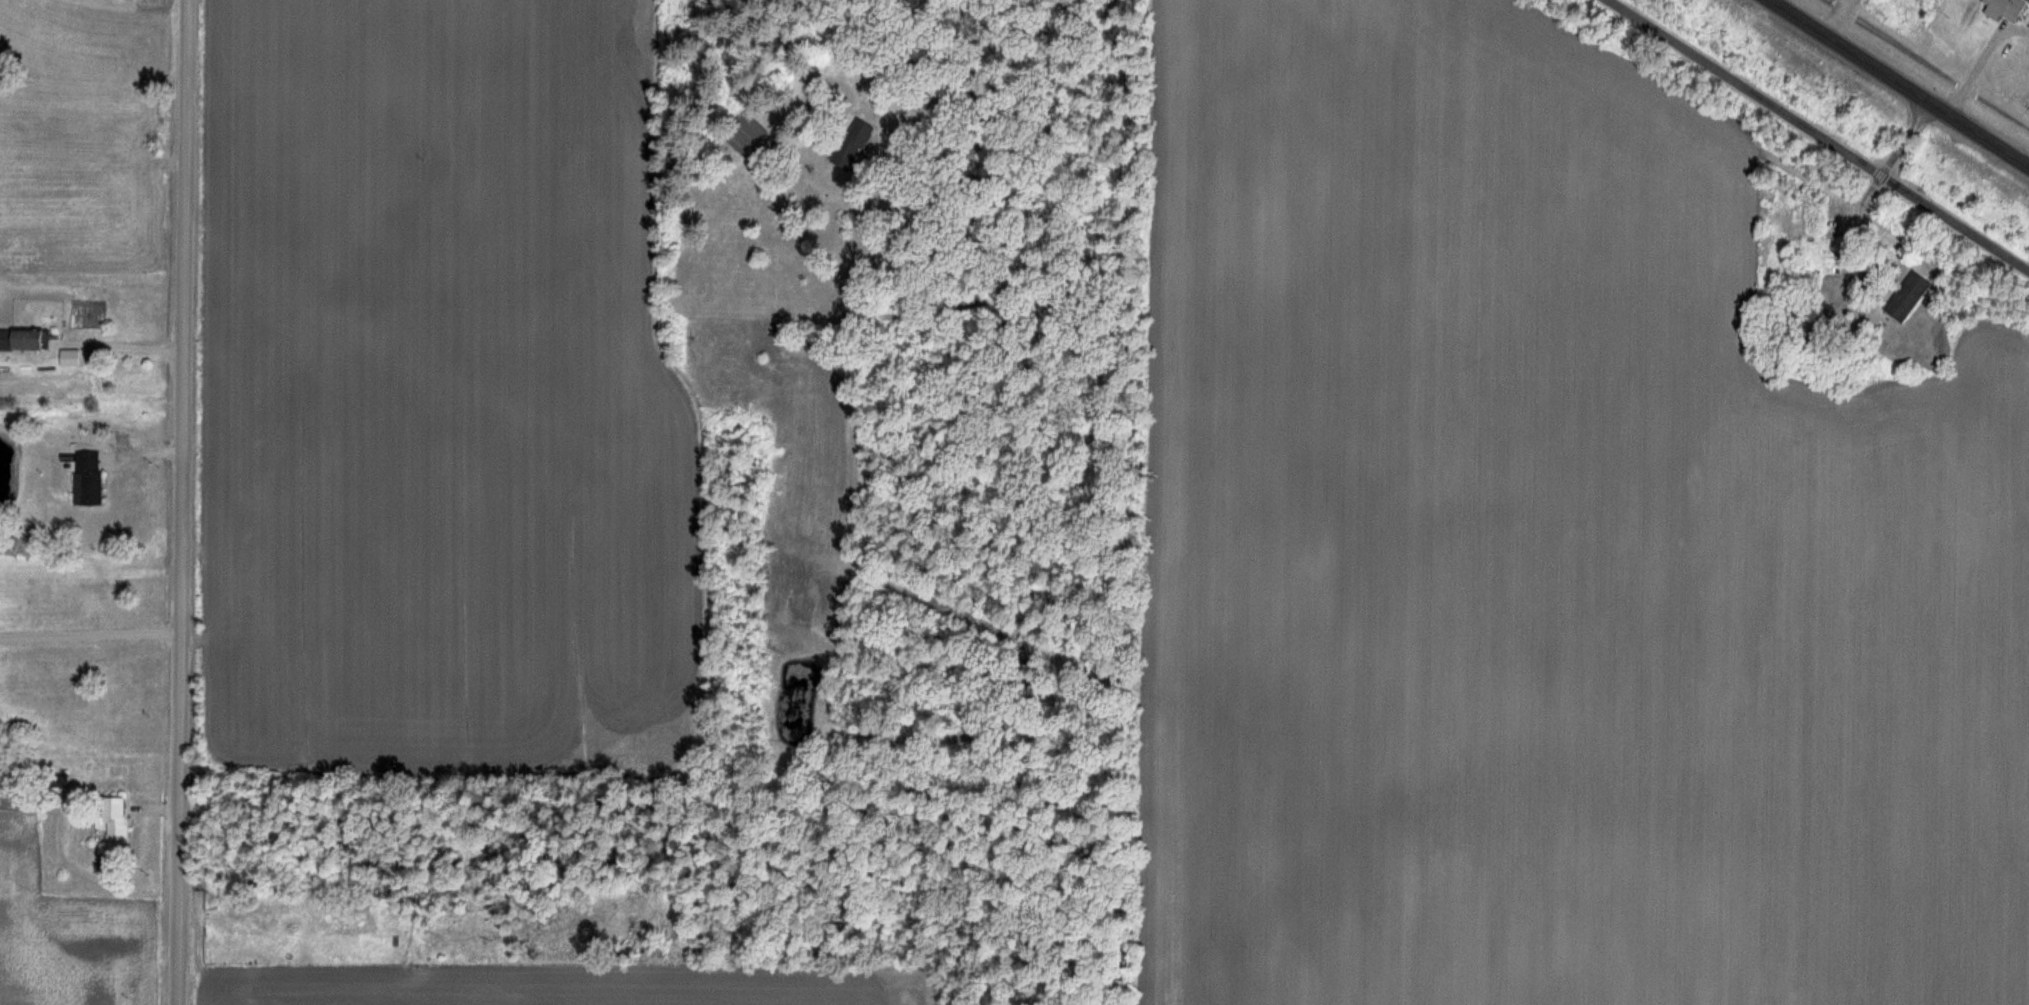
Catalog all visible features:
building: (2005, 7)
road: (792, 40)
road: (1902, 81)
road: (1818, 135)
building: (849, 144)
building: (1904, 297)
building: (26, 341)
road: (117, 346)
building: (92, 479)
road: (186, 502)
road: (92, 632)
building: (121, 823)

